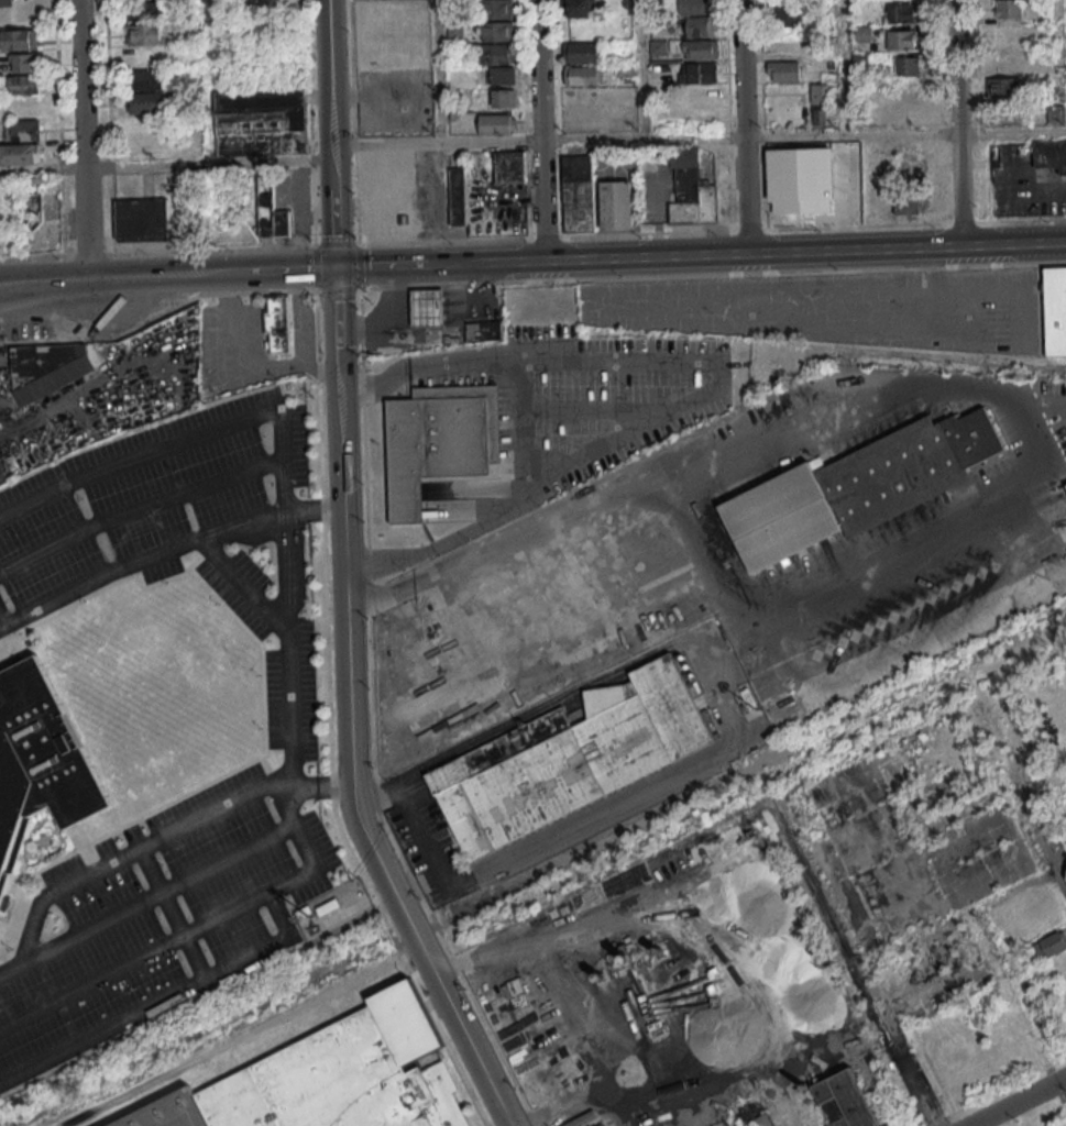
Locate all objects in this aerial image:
building: (6, 2)
building: (694, 7)
building: (579, 8)
building: (1009, 8)
building: (495, 9)
building: (144, 10)
building: (900, 12)
building: (792, 15)
building: (700, 27)
building: (495, 32)
building: (860, 33)
building: (145, 34)
building: (18, 38)
building: (901, 38)
building: (701, 49)
building: (582, 52)
building: (22, 62)
building: (498, 62)
building: (906, 66)
road: (845, 67)
road: (639, 69)
road: (438, 71)
building: (782, 71)
road: (328, 73)
building: (700, 73)
building: (583, 75)
building: (146, 79)
road: (209, 81)
building: (20, 84)
building: (1004, 86)
building: (909, 88)
building: (503, 97)
building: (146, 101)
building: (820, 103)
building: (19, 108)
building: (1056, 113)
building: (261, 122)
road: (358, 122)
building: (496, 123)
road: (956, 123)
road: (743, 126)
building: (22, 130)
road: (539, 131)
road: (1011, 131)
road: (644, 137)
road: (84, 140)
building: (19, 154)
building: (1051, 154)
road: (165, 165)
building: (509, 167)
building: (803, 177)
building: (689, 190)
building: (578, 192)
building: (458, 196)
building: (615, 205)
building: (906, 206)
road: (332, 207)
building: (32, 209)
building: (271, 213)
building: (141, 219)
building: (383, 221)
road: (1013, 244)
road: (683, 256)
road: (371, 267)
traffic signals: (336, 268)
road: (294, 271)
road: (149, 277)
road: (527, 280)
road: (23, 281)
road: (23, 290)
building: (430, 306)
building: (1057, 311)
building: (277, 323)
building: (486, 330)
road: (337, 338)
building: (48, 358)
road: (468, 363)
road: (948, 379)
road: (375, 380)
road: (162, 449)
building: (442, 456)
road: (531, 481)
building: (857, 492)
road: (164, 498)
road: (312, 511)
road: (392, 558)
road: (138, 560)
road: (244, 587)
road: (1, 622)
road: (290, 662)
parking lot: (288, 698)
building: (40, 762)
building: (572, 763)
road: (337, 783)
road: (352, 785)
road: (287, 788)
road: (1020, 793)
building: (609, 887)
road: (178, 912)
road: (31, 926)
road: (180, 938)
building: (1051, 943)
road: (273, 945)
road: (11, 965)
building: (821, 971)
building: (602, 998)
road: (106, 1028)
road: (892, 1044)
building: (527, 1045)
building: (604, 1068)
building: (331, 1078)
building: (844, 1100)
road: (1018, 1102)
building: (776, 1118)
building: (604, 1125)

